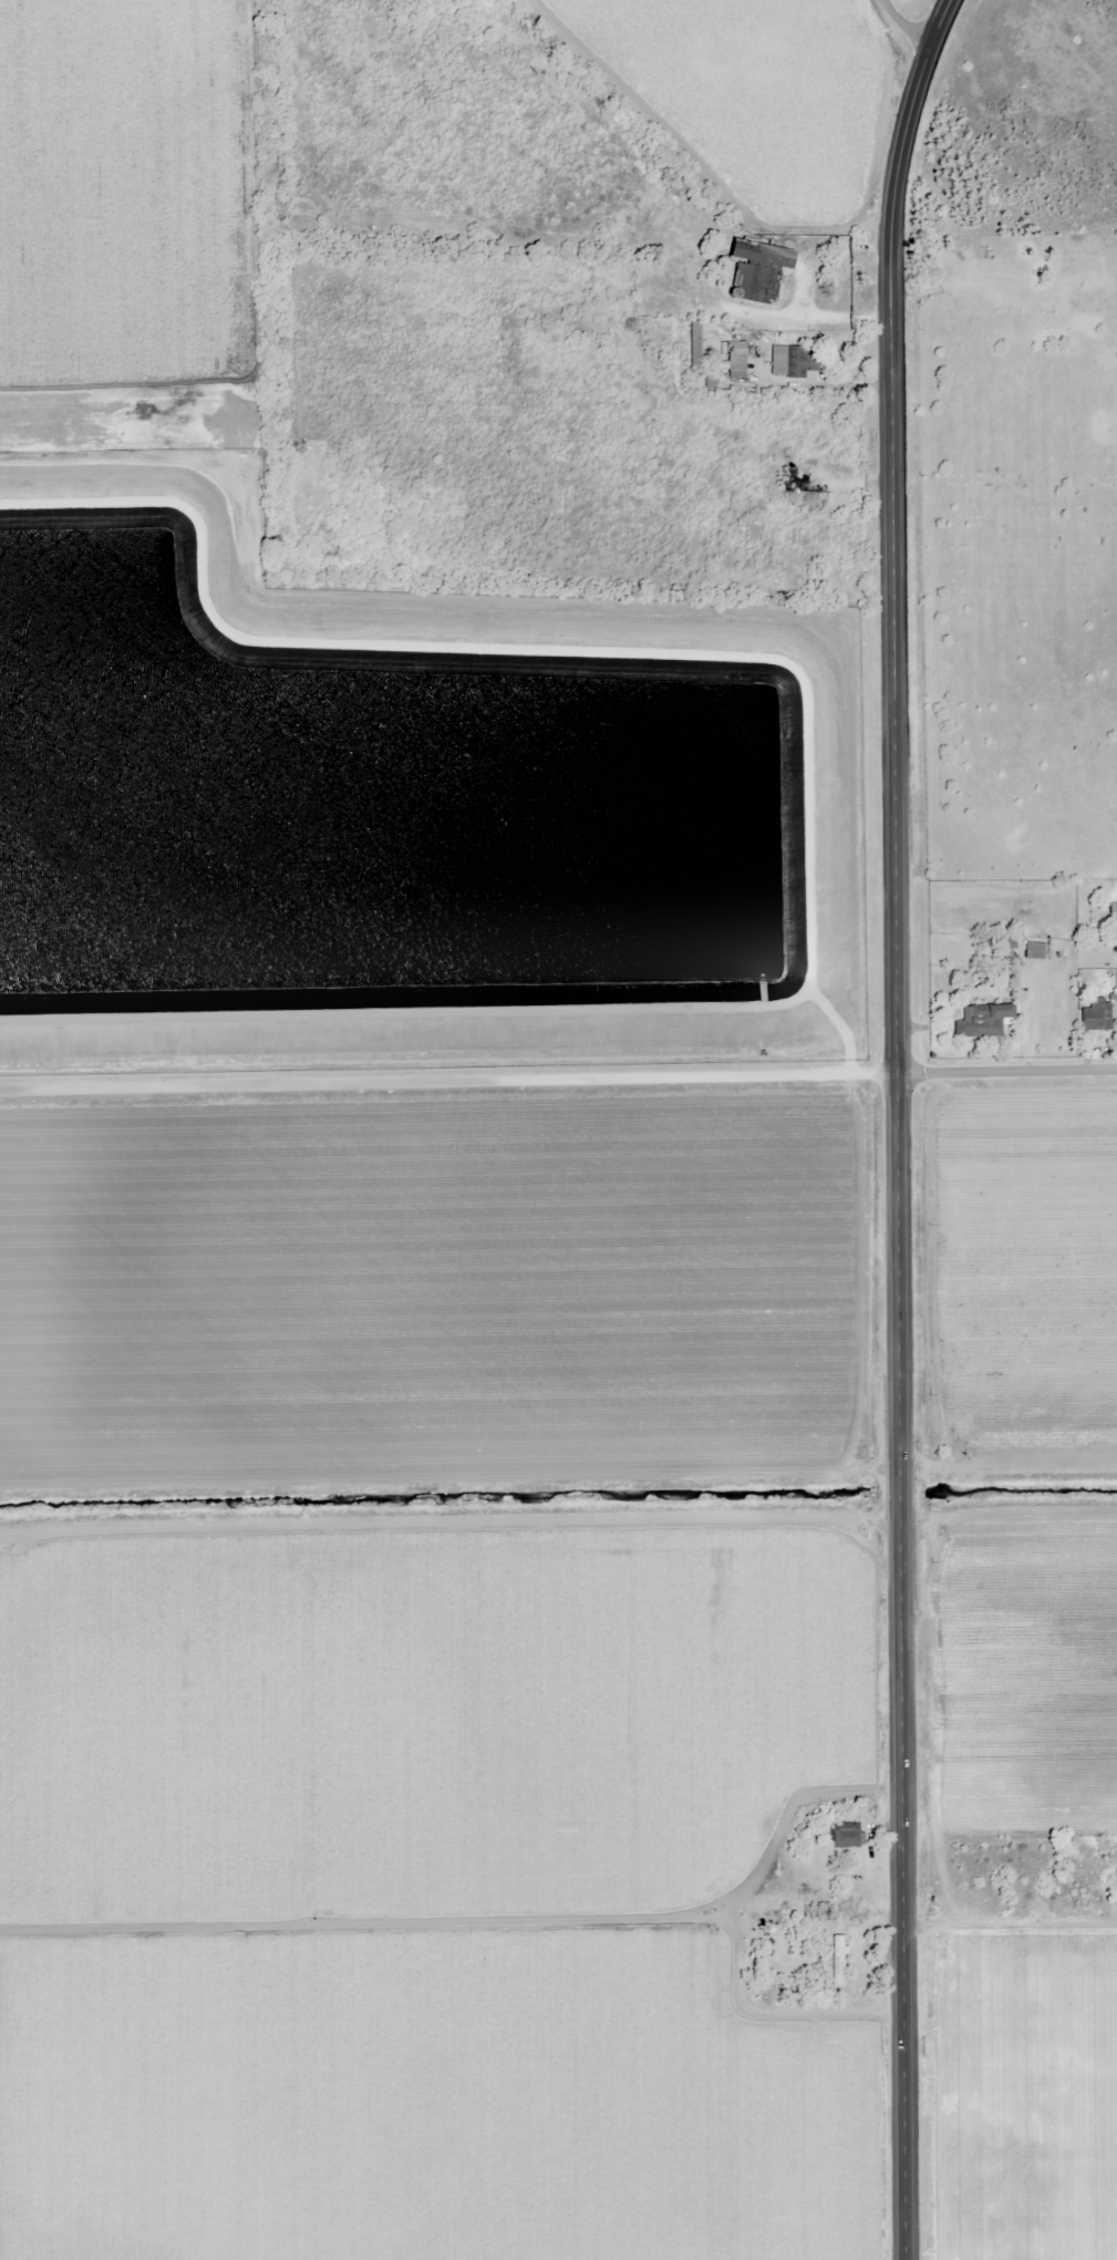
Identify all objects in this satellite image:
road: (902, 142)
building: (757, 252)
building: (744, 275)
building: (697, 354)
building: (733, 359)
building: (789, 360)
building: (796, 483)
building: (1111, 911)
building: (1032, 950)
building: (1093, 1017)
building: (980, 1020)
road: (1007, 1073)
road: (448, 1083)
road: (898, 1276)
building: (846, 1835)
building: (1110, 1849)
building: (835, 1959)

